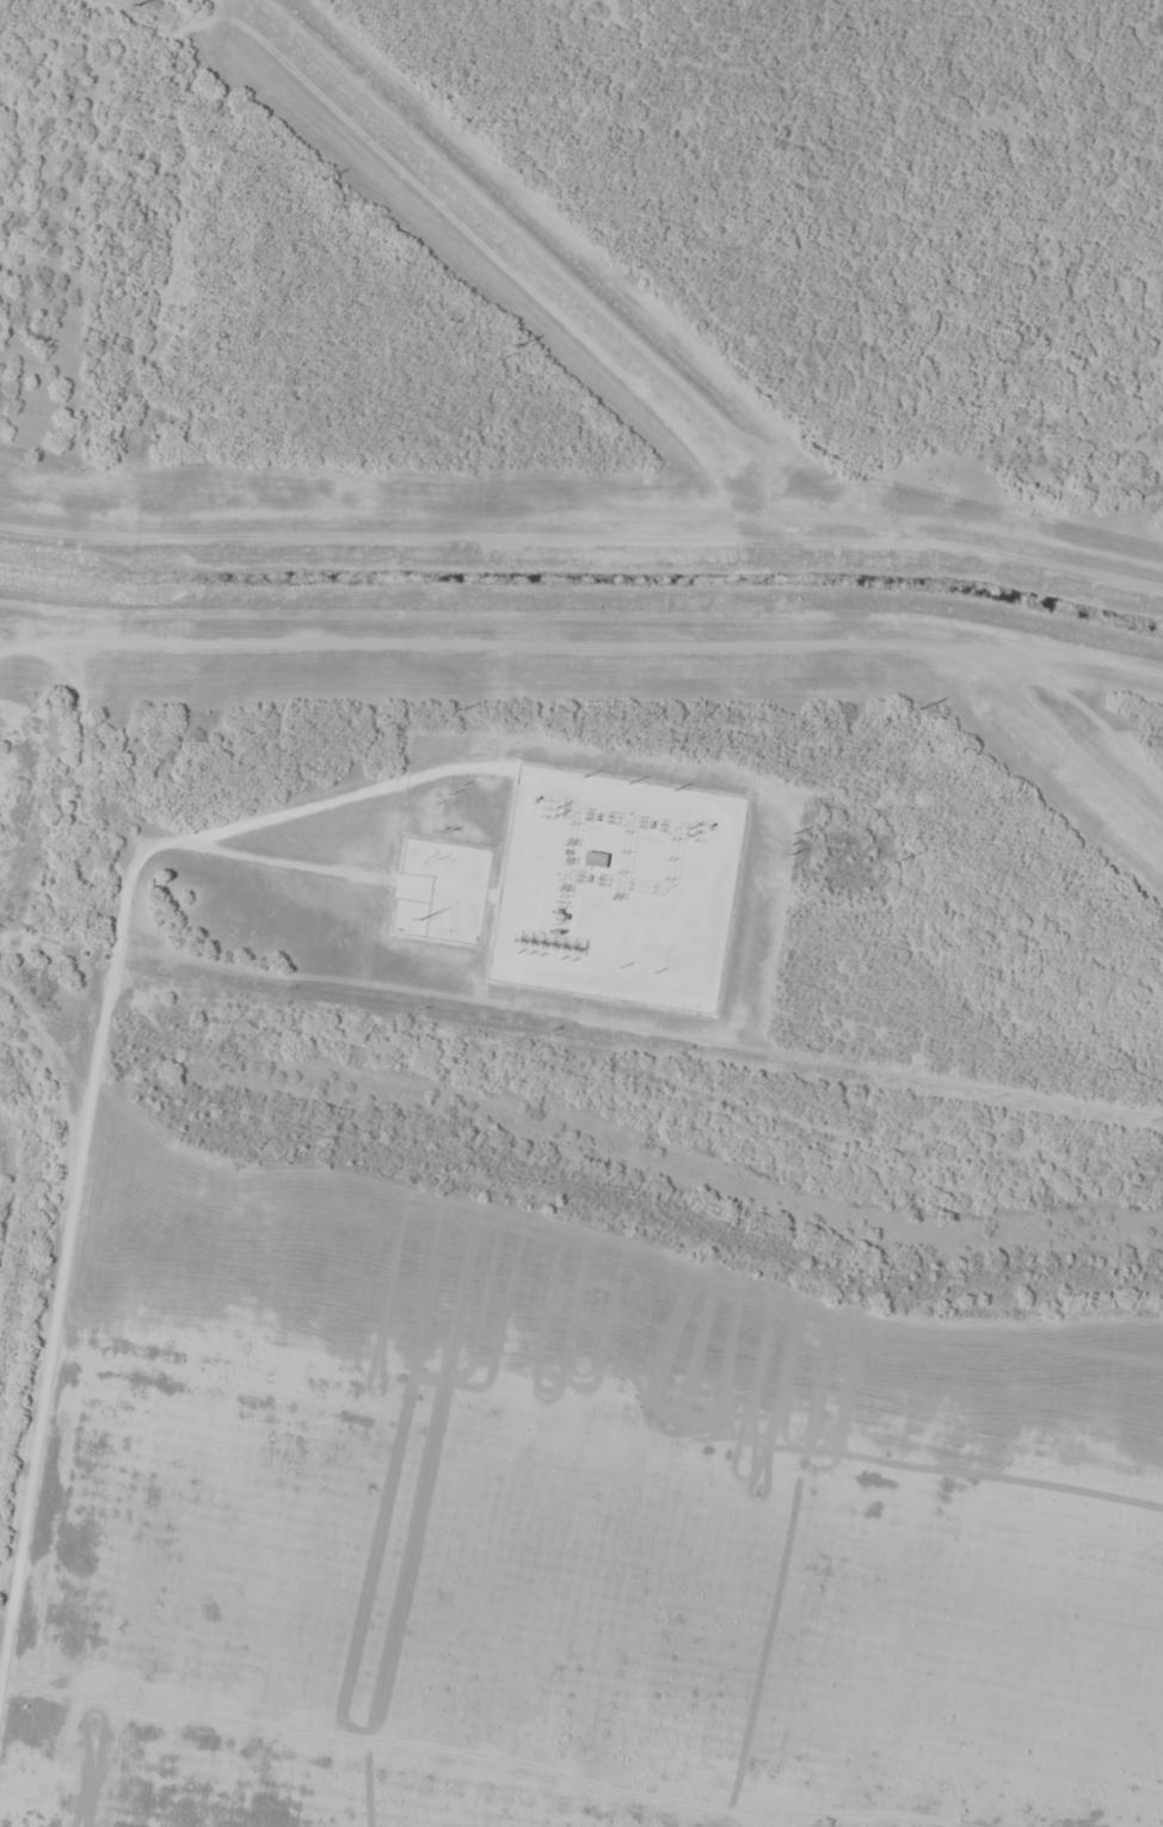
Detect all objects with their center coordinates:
power tower: (558, 811)
power tower: (691, 831)
building: (596, 861)
power substation: (617, 890)

